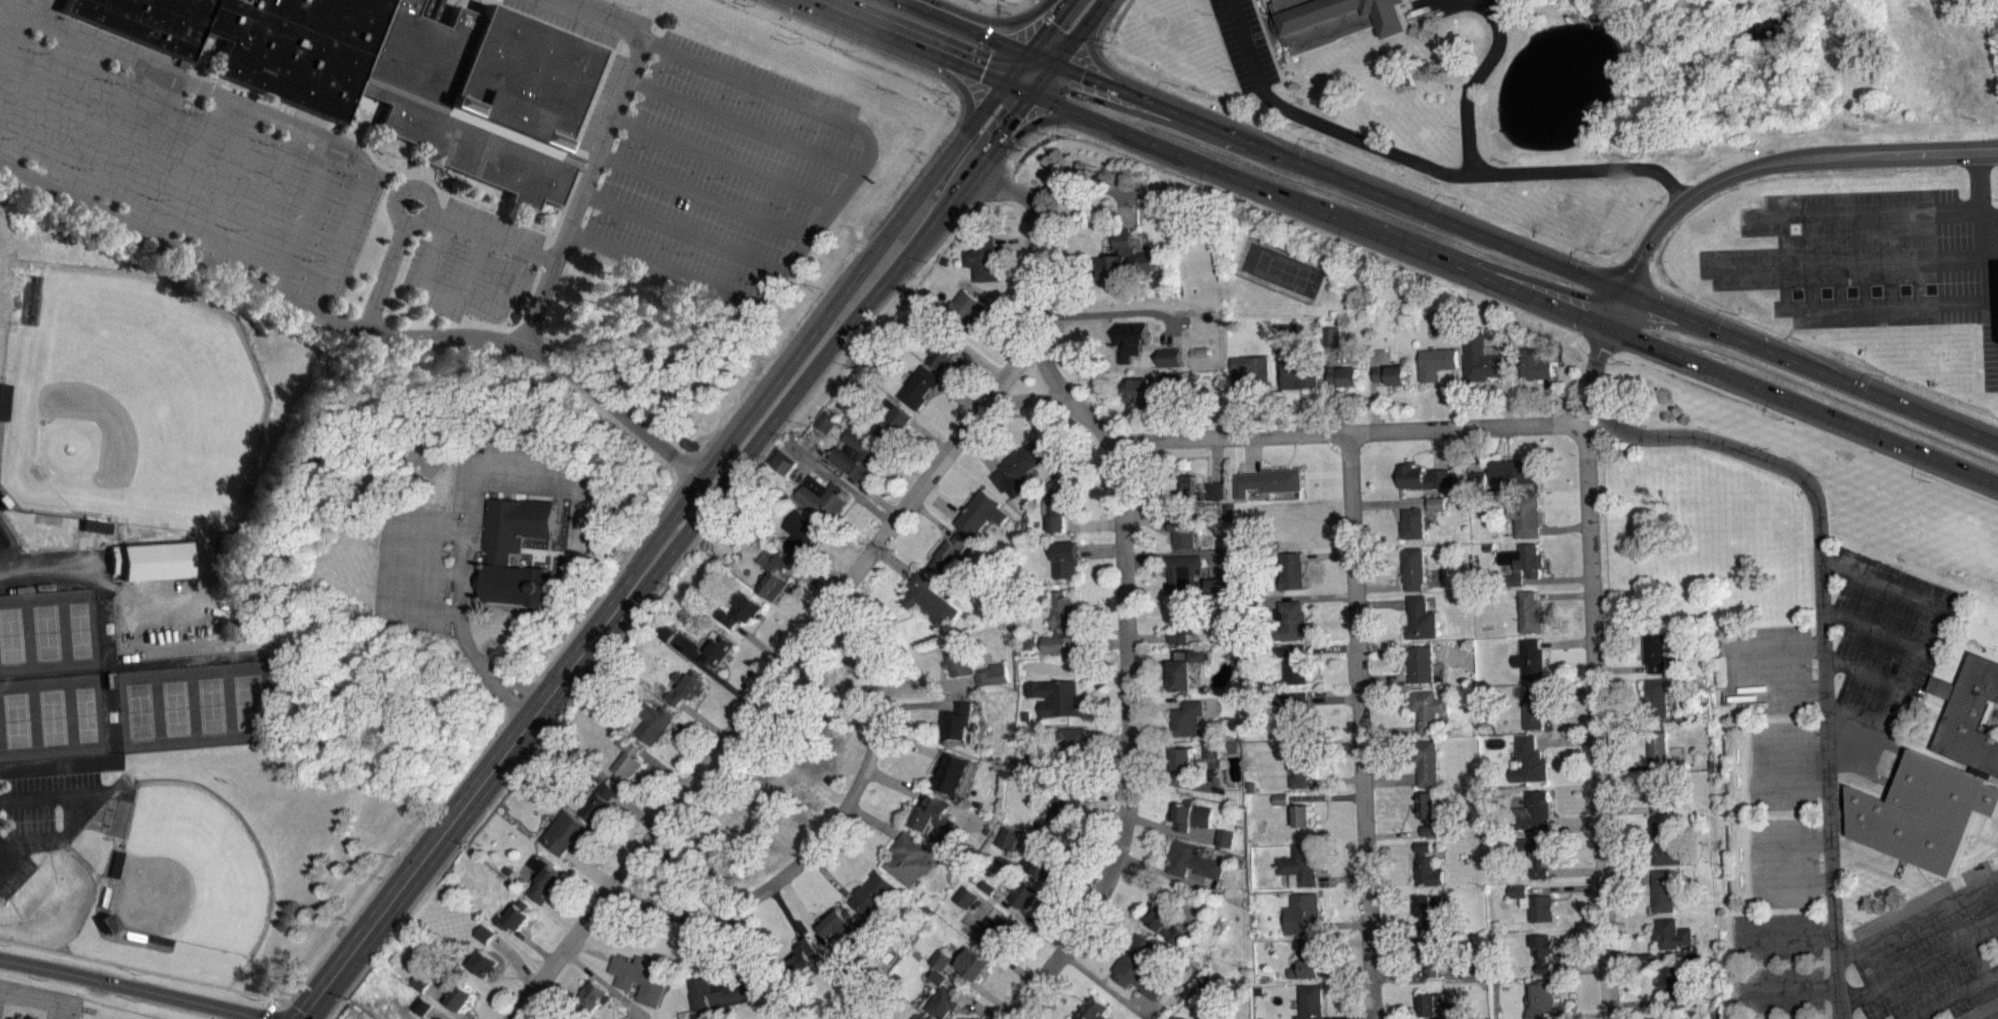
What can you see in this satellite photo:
park: (1038, 0)
road: (38, 9)
traffic signals: (1051, 20)
building: (1337, 20)
road: (993, 22)
road: (961, 26)
road: (1046, 26)
road: (1077, 32)
road: (898, 41)
road: (1092, 51)
road: (15, 53)
road: (1039, 58)
road: (1014, 67)
building: (394, 73)
traffic signals: (981, 74)
traffic signals: (1081, 75)
road: (953, 80)
road: (1474, 84)
road: (1024, 97)
road: (41, 98)
road: (258, 108)
traffic signals: (1013, 113)
road: (79, 114)
road: (1047, 119)
road: (745, 124)
road: (115, 130)
road: (605, 144)
road: (156, 148)
road: (985, 151)
parking lot: (183, 156)
road: (1781, 160)
road: (724, 161)
road: (1421, 164)
road: (194, 165)
parking lot: (665, 177)
road: (231, 181)
road: (1087, 186)
road: (953, 193)
road: (705, 194)
road: (914, 197)
road: (270, 199)
road: (835, 201)
road: (1976, 214)
road: (307, 216)
road: (1867, 217)
road: (684, 230)
road: (484, 234)
road: (1014, 242)
road: (1525, 250)
building: (982, 258)
building: (1122, 259)
parking lot: (1870, 259)
road: (1846, 261)
road: (385, 267)
park: (1281, 269)
road: (1499, 282)
road: (442, 293)
road: (501, 299)
road: (1884, 302)
road: (1611, 305)
road: (997, 306)
building: (964, 308)
road: (1117, 312)
road: (355, 327)
building: (1283, 329)
building: (1331, 335)
building: (1129, 338)
building: (943, 350)
building: (1169, 356)
building: (1480, 358)
road: (980, 360)
building: (1436, 361)
building: (1535, 363)
road: (1046, 368)
building: (1251, 373)
building: (1390, 373)
building: (1298, 375)
road: (1327, 375)
building: (1344, 375)
road: (1506, 377)
building: (853, 383)
building: (1152, 384)
building: (918, 386)
road: (1277, 386)
road: (1373, 391)
road: (792, 393)
road: (764, 396)
road: (957, 396)
road: (1454, 397)
park: (129, 398)
road: (1022, 400)
road: (1546, 400)
road: (1336, 407)
road: (1240, 413)
road: (1170, 415)
building: (825, 419)
building: (891, 420)
road: (1316, 432)
road: (928, 435)
road: (1435, 448)
road: (1473, 448)
road: (979, 450)
road: (1252, 453)
building: (855, 455)
road: (1215, 459)
building: (781, 460)
building: (1018, 466)
road: (843, 472)
building: (1503, 474)
building: (1423, 477)
building: (1268, 480)
road: (840, 483)
building: (1184, 486)
building: (821, 497)
road: (938, 502)
road: (1389, 502)
building: (1435, 503)
building: (1058, 506)
building: (1437, 509)
building: (980, 512)
building: (1526, 515)
road: (1148, 516)
road: (931, 518)
road: (670, 520)
building: (1412, 522)
road: (1093, 523)
building: (1184, 526)
road: (1563, 528)
building: (95, 531)
building: (801, 533)
track: (2, 537)
road: (464, 539)
road: (1100, 549)
road: (1180, 553)
building: (948, 554)
road: (1327, 554)
building: (498, 557)
building: (1065, 558)
road: (893, 561)
building: (1522, 562)
building: (149, 566)
building: (1412, 567)
road: (825, 569)
building: (1292, 569)
building: (774, 576)
building: (1190, 577)
road: (1556, 578)
road: (812, 581)
road: (1379, 586)
road: (1817, 590)
road: (1564, 594)
road: (836, 595)
road: (1307, 597)
building: (928, 599)
building: (1252, 603)
road: (1381, 603)
building: (740, 609)
building: (1529, 611)
road: (1928, 613)
building: (1419, 618)
building: (1290, 620)
building: (1184, 622)
building: (1061, 624)
road: (1868, 624)
park: (78, 628)
park: (45, 630)
building: (665, 631)
park: (10, 633)
road: (1147, 637)
parking lot: (1885, 637)
building: (1027, 640)
road: (1566, 641)
road: (1100, 642)
road: (760, 645)
road: (1331, 646)
building: (717, 650)
building: (1060, 650)
building: (1656, 652)
road: (1158, 655)
building: (958, 657)
building: (1531, 658)
building: (1293, 661)
building: (1420, 663)
parking lot: (1767, 667)
road: (1621, 668)
road: (1739, 668)
road: (1075, 670)
building: (1183, 670)
road: (1862, 670)
road: (711, 671)
building: (991, 673)
road: (1036, 673)
road: (1383, 678)
road: (929, 685)
building: (686, 686)
road: (1567, 689)
building: (1056, 696)
building: (1656, 696)
road: (1333, 697)
park: (248, 700)
park: (212, 702)
road: (924, 703)
road: (1156, 705)
park: (175, 706)
building: (1533, 707)
park: (139, 709)
building: (1427, 709)
road: (1622, 712)
park: (85, 713)
building: (1291, 713)
park: (51, 716)
building: (1187, 718)
park: (15, 719)
road: (703, 720)
building: (654, 722)
road: (1597, 723)
road: (1359, 725)
building: (959, 726)
road: (1389, 728)
road: (1861, 730)
road: (693, 736)
road: (1107, 739)
road: (1567, 740)
road: (909, 742)
building: (1072, 744)
road: (1129, 744)
building: (1657, 746)
building: (1220, 748)
building: (1217, 755)
building: (628, 757)
building: (1425, 760)
building: (1529, 760)
building: (1184, 761)
building: (1299, 762)
building: (1678, 763)
parking lot: (1778, 764)
road: (1634, 766)
road: (1758, 766)
road: (663, 769)
building: (951, 771)
road: (1390, 778)
road: (1335, 779)
building: (1939, 779)
road: (894, 781)
road: (1183, 783)
road: (473, 792)
road: (1105, 794)
building: (1659, 794)
road: (1325, 796)
building: (1280, 797)
building: (599, 800)
building: (1426, 804)
building: (1064, 806)
road: (1626, 808)
road: (635, 811)
building: (1533, 811)
building: (1191, 815)
building: (1302, 815)
building: (937, 818)
road: (873, 819)
road: (1575, 821)
road: (828, 827)
building: (1428, 829)
road: (1170, 830)
building: (566, 831)
road: (1392, 833)
building: (1430, 836)
building: (1008, 837)
building: (1225, 837)
building: (1666, 843)
road: (1390, 846)
building: (1537, 853)
road: (1063, 855)
building: (908, 858)
building: (1193, 859)
road: (1627, 859)
parking lot: (1783, 860)
building: (1300, 863)
road: (1758, 863)
building: (1040, 864)
building: (1426, 864)
road: (589, 867)
park: (191, 869)
road: (1574, 870)
road: (1166, 873)
road: (829, 875)
road: (1627, 875)
building: (542, 878)
road: (1341, 878)
building: (987, 887)
road: (1159, 887)
road: (1564, 887)
building: (1662, 889)
building: (1517, 890)
building: (871, 893)
building: (1024, 893)
building: (965, 896)
building: (1541, 907)
building: (1427, 908)
road: (785, 911)
building: (1301, 911)
road: (563, 912)
building: (513, 917)
road: (1916, 918)
road: (1028, 919)
road: (1188, 919)
building: (1165, 922)
road: (1336, 924)
road: (1393, 925)
road: (812, 926)
building: (842, 929)
building: (997, 930)
building: (483, 933)
building: (1671, 933)
road: (1785, 933)
parking lot: (1775, 934)
road: (753, 942)
road: (1341, 942)
road: (530, 944)
road: (993, 950)
building: (1543, 951)
road: (842, 952)
building: (1431, 952)
parking lot: (1933, 953)
road: (589, 954)
road: (1649, 954)
building: (800, 958)
building: (941, 959)
road: (514, 960)
building: (1306, 961)
building: (483, 963)
building: (971, 963)
building: (1138, 966)
road: (1579, 966)
road: (1918, 966)
road: (153, 971)
building: (1470, 971)
road: (1397, 972)
building: (937, 976)
building: (640, 977)
building: (421, 981)
building: (857, 982)
road: (603, 983)
road: (1102, 984)
building: (1676, 985)
road: (131, 987)
road: (1788, 987)
building: (421, 988)
parking lot: (1777, 988)
road: (980, 990)
building: (457, 993)
building: (722, 993)
building: (1218, 993)
road: (1952, 995)
building: (591, 996)
road: (970, 997)
building: (1541, 998)
building: (1310, 1001)
road: (549, 1002)
building: (944, 1002)
road: (1640, 1002)
building: (1431, 1003)
road: (445, 1004)
building: (422, 1005)
road: (332, 1008)
building: (1092, 1009)
road: (1213, 1010)
road: (279, 1012)
road: (290, 1012)
road: (435, 1015)
building: (1458, 1015)
road: (1577, 1015)
building: (568, 1017)
building: (919, 1017)
road: (1012, 1017)
road: (1016, 1017)
building: (1178, 1017)
building: (620, 1018)
road: (1359, 1018)
road: (1444, 1018)
parking lot: (1801, 1018)

